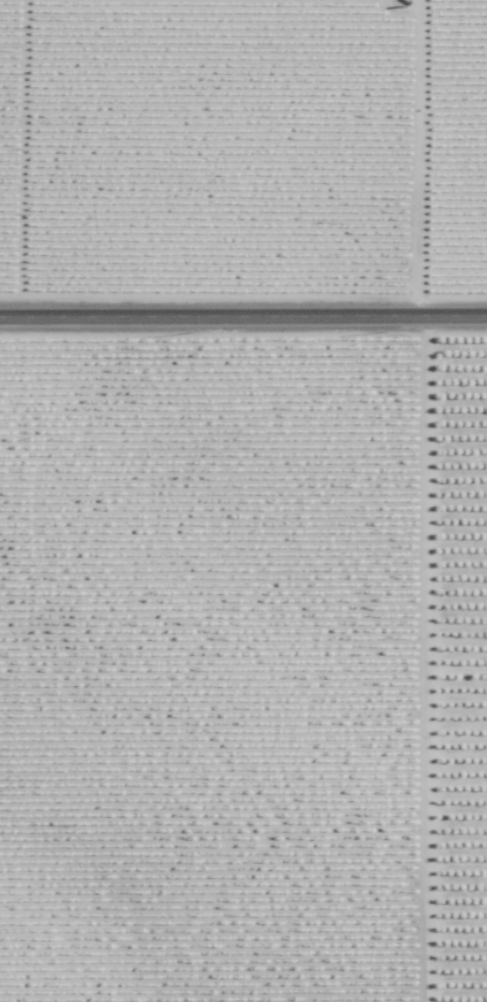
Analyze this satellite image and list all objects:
road: (243, 330)
road: (422, 500)

